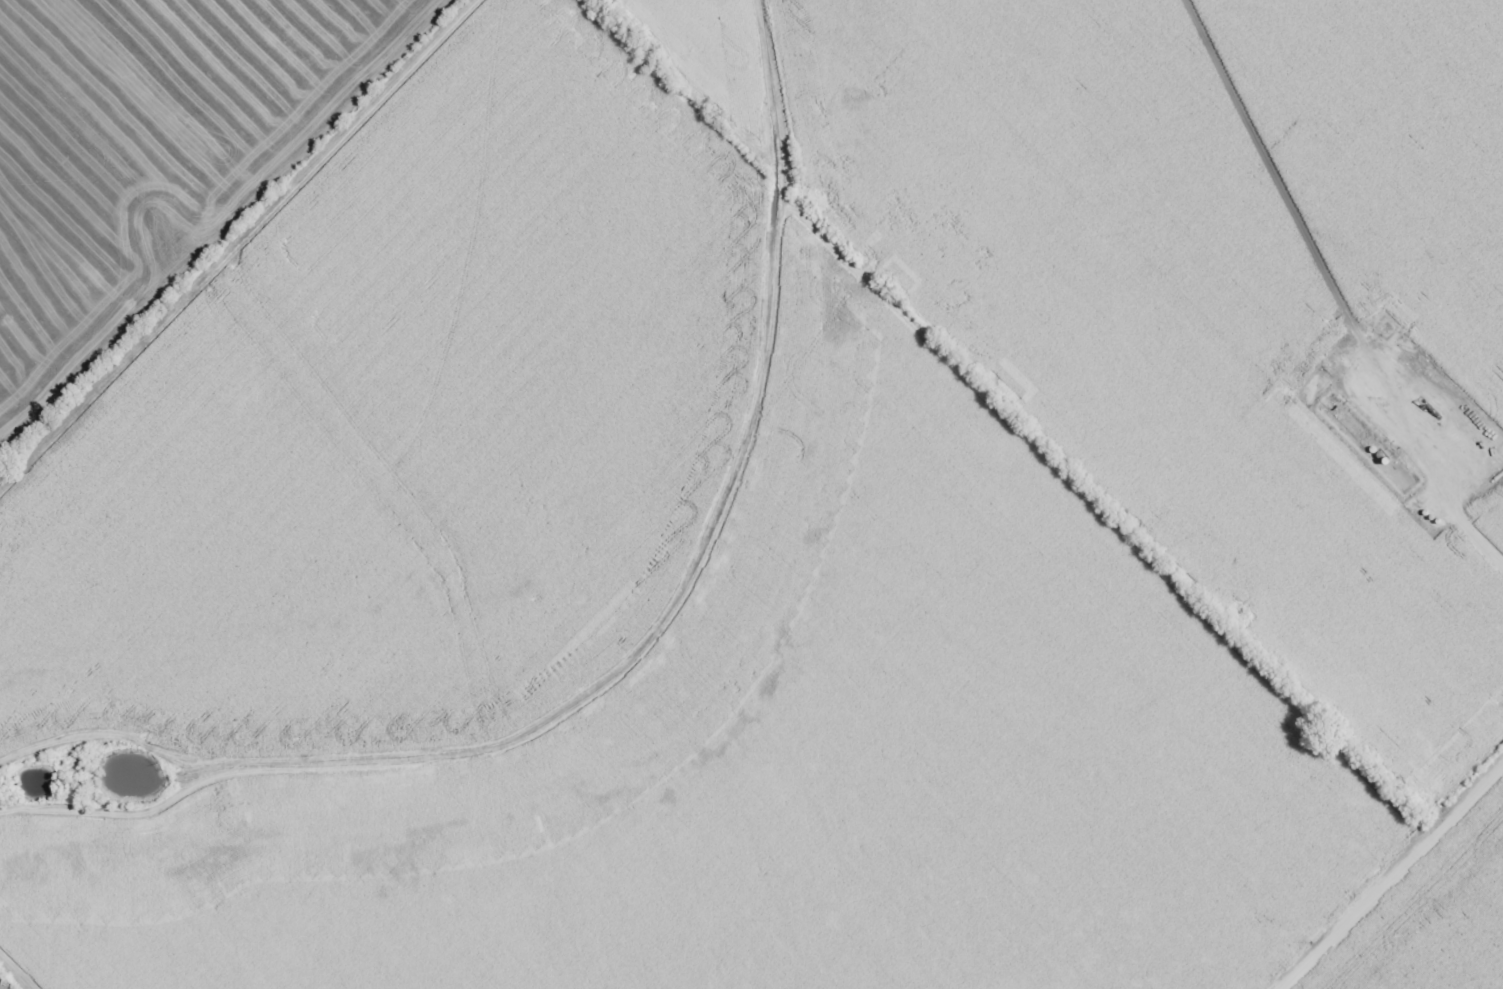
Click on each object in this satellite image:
road: (1406, 888)

